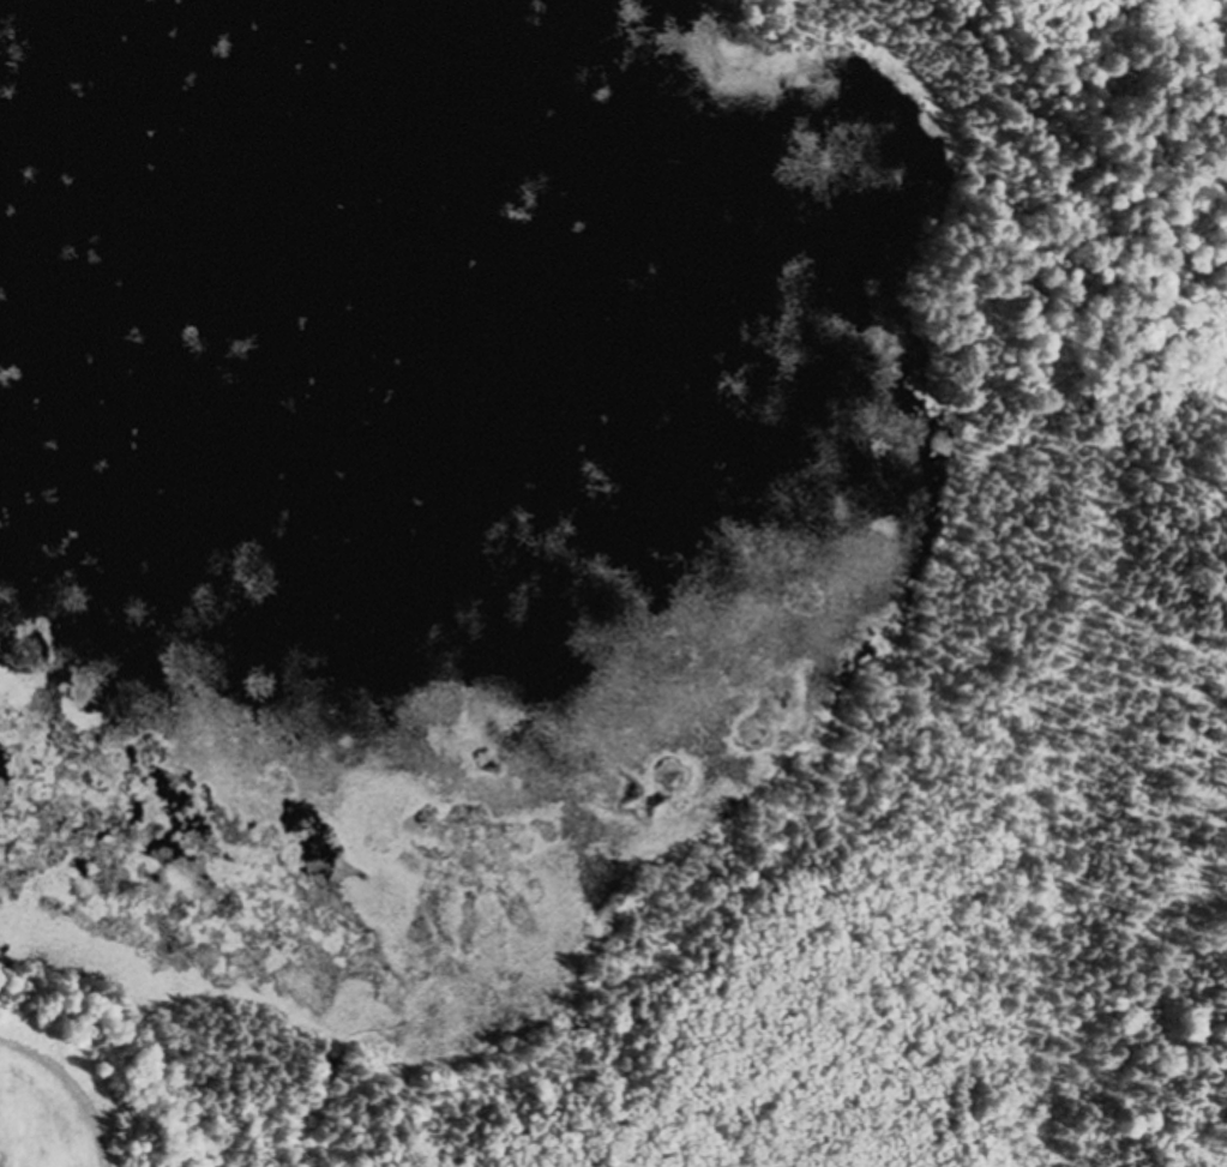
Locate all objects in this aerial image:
crop: (55, 1102)

